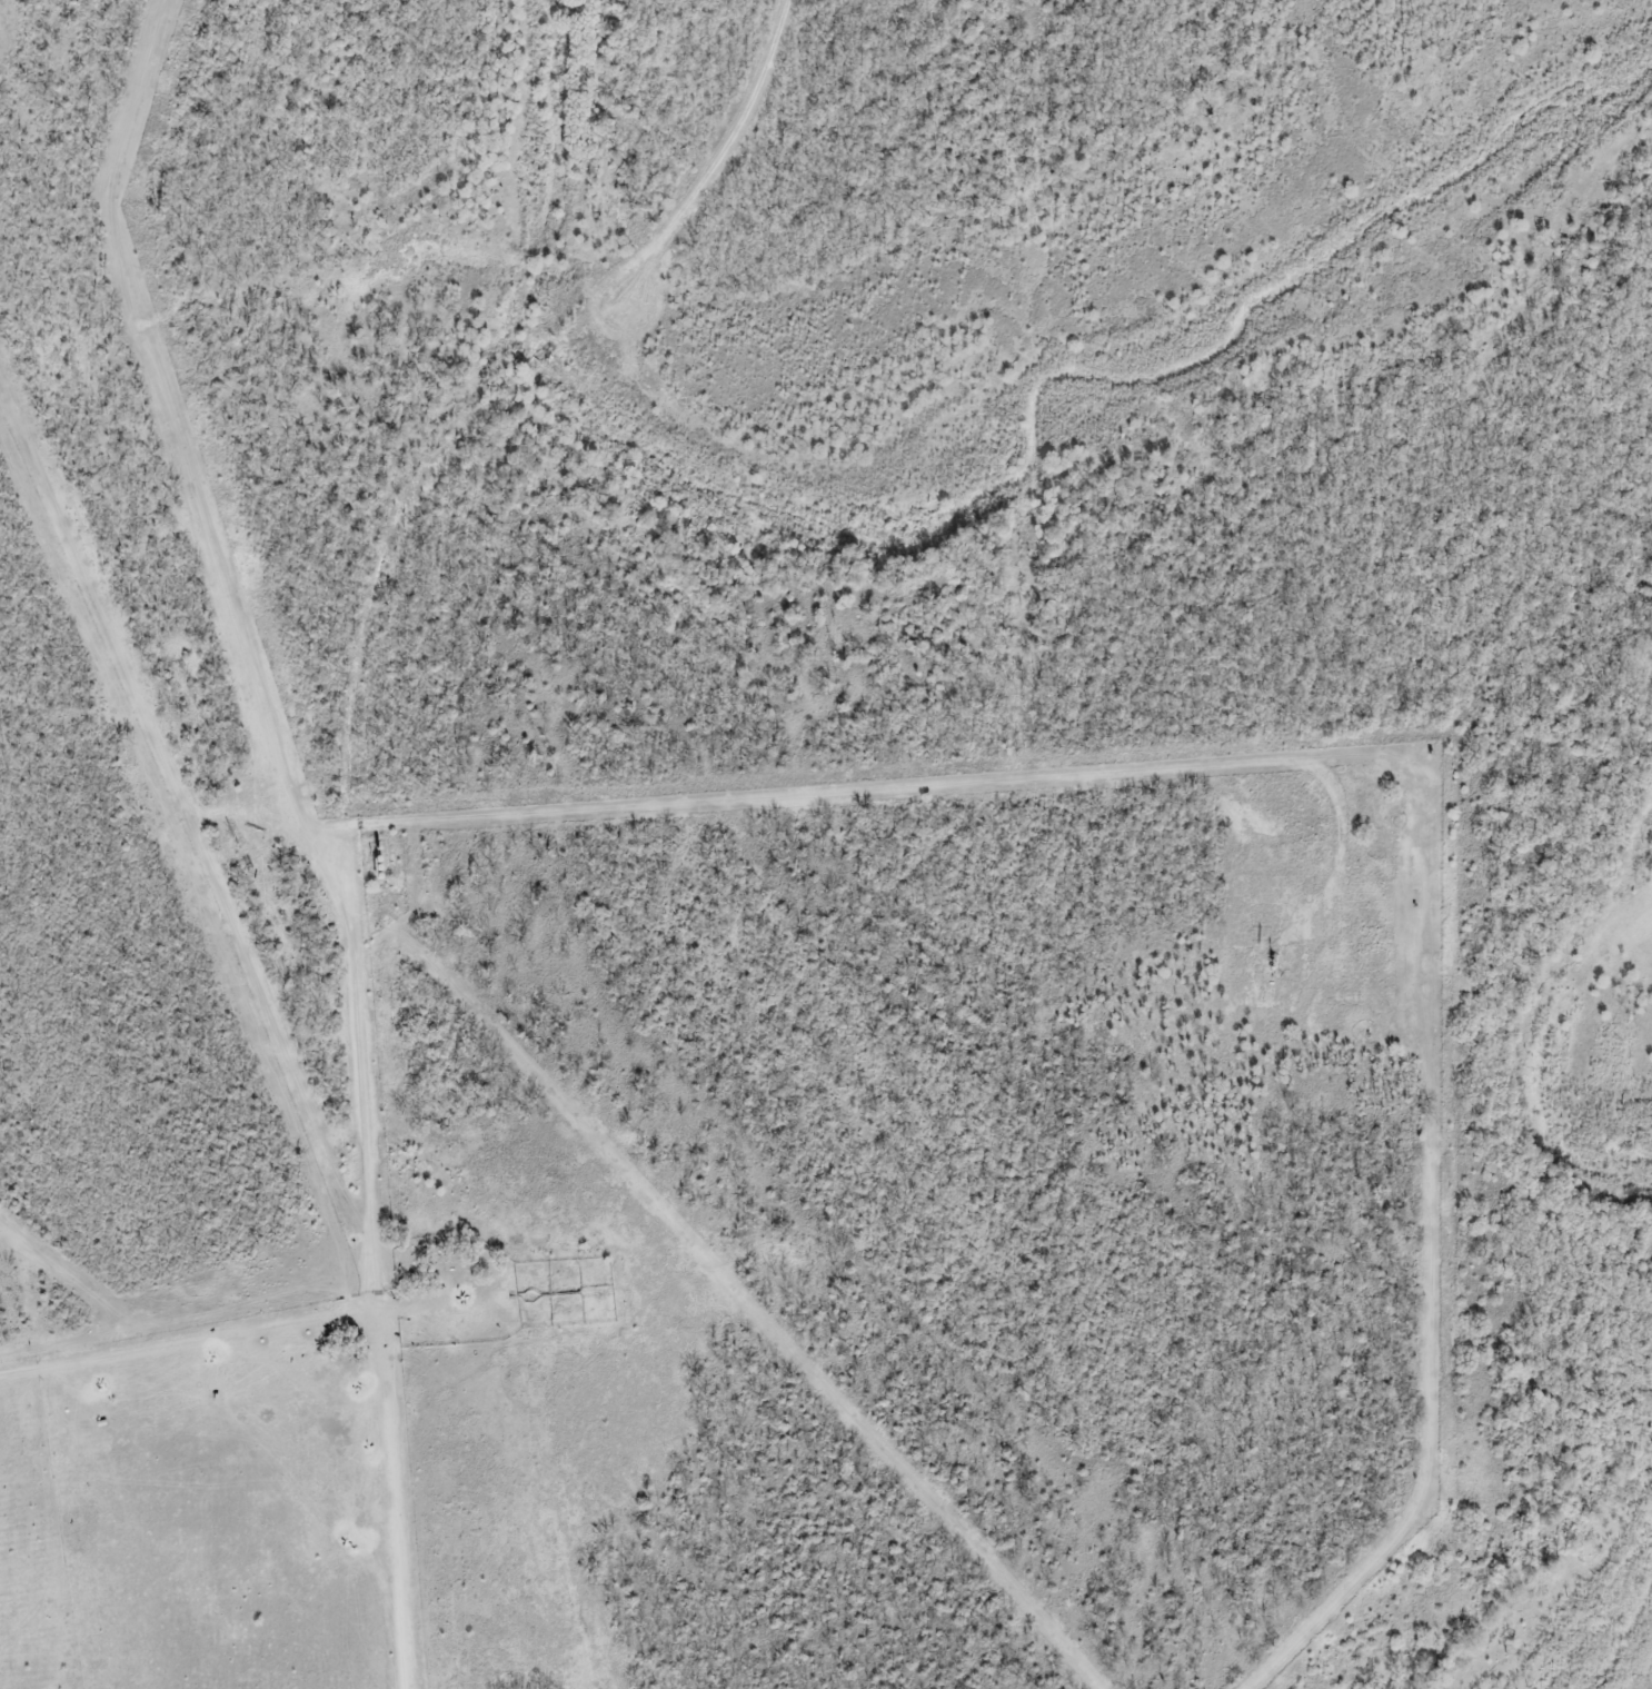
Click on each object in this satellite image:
road: (299, 834)

